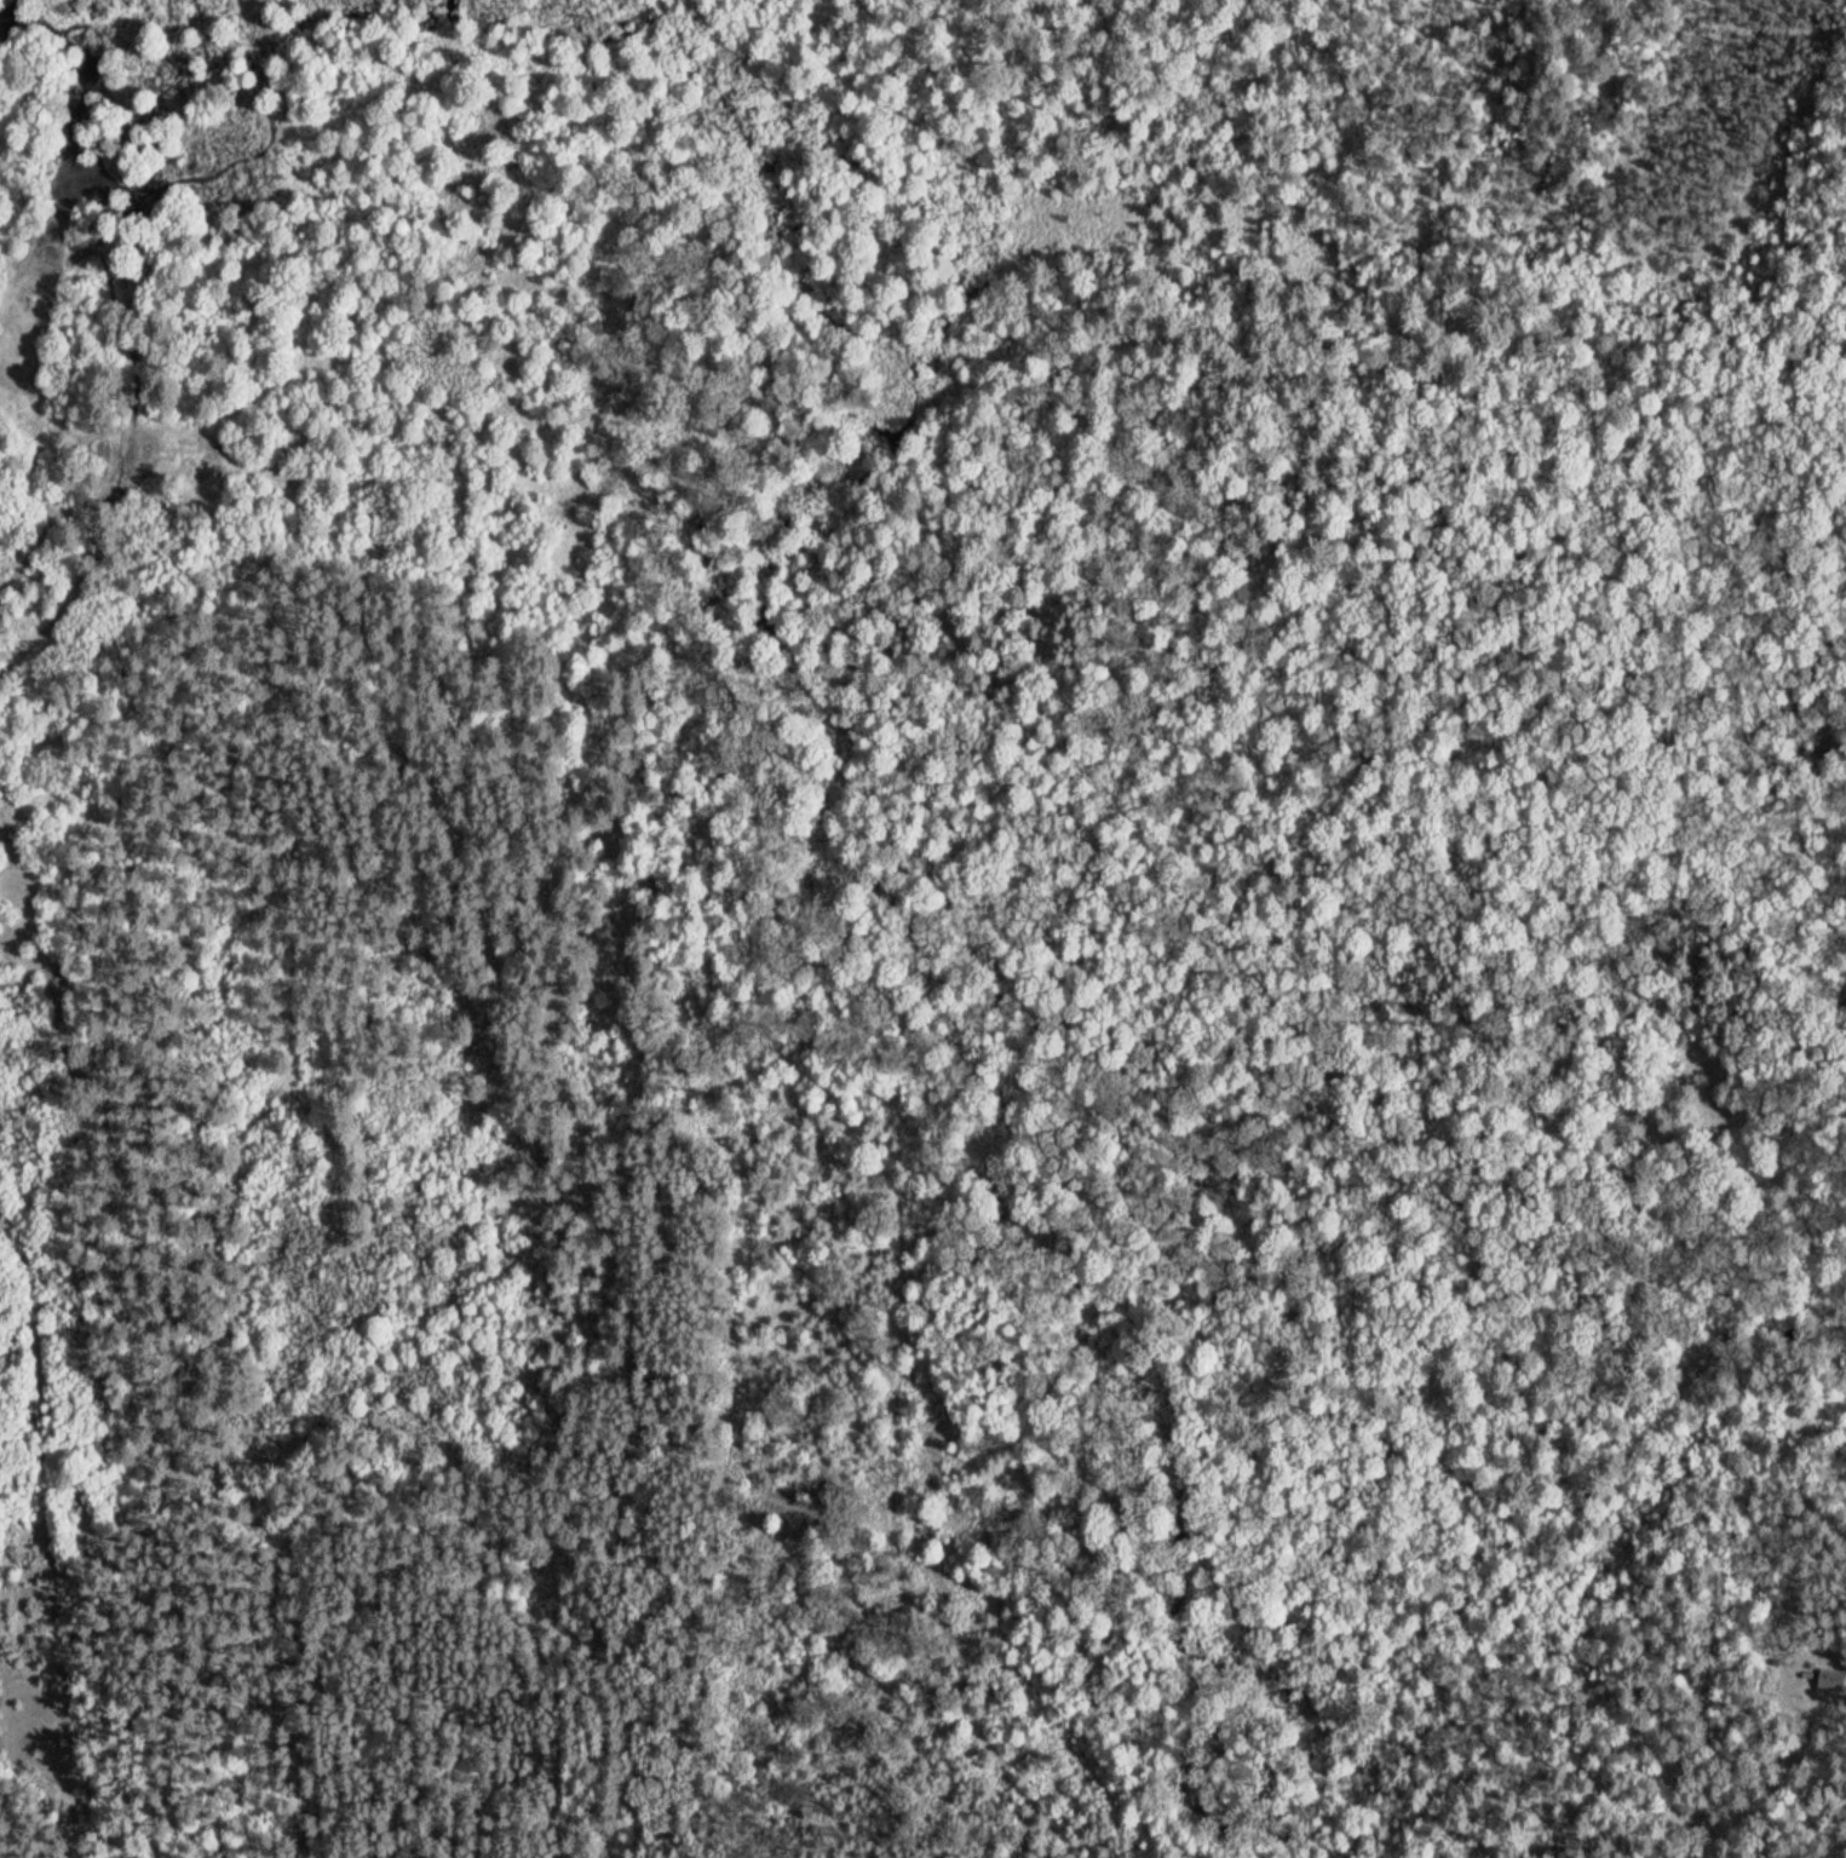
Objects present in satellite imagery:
building: (1831, 1681)

